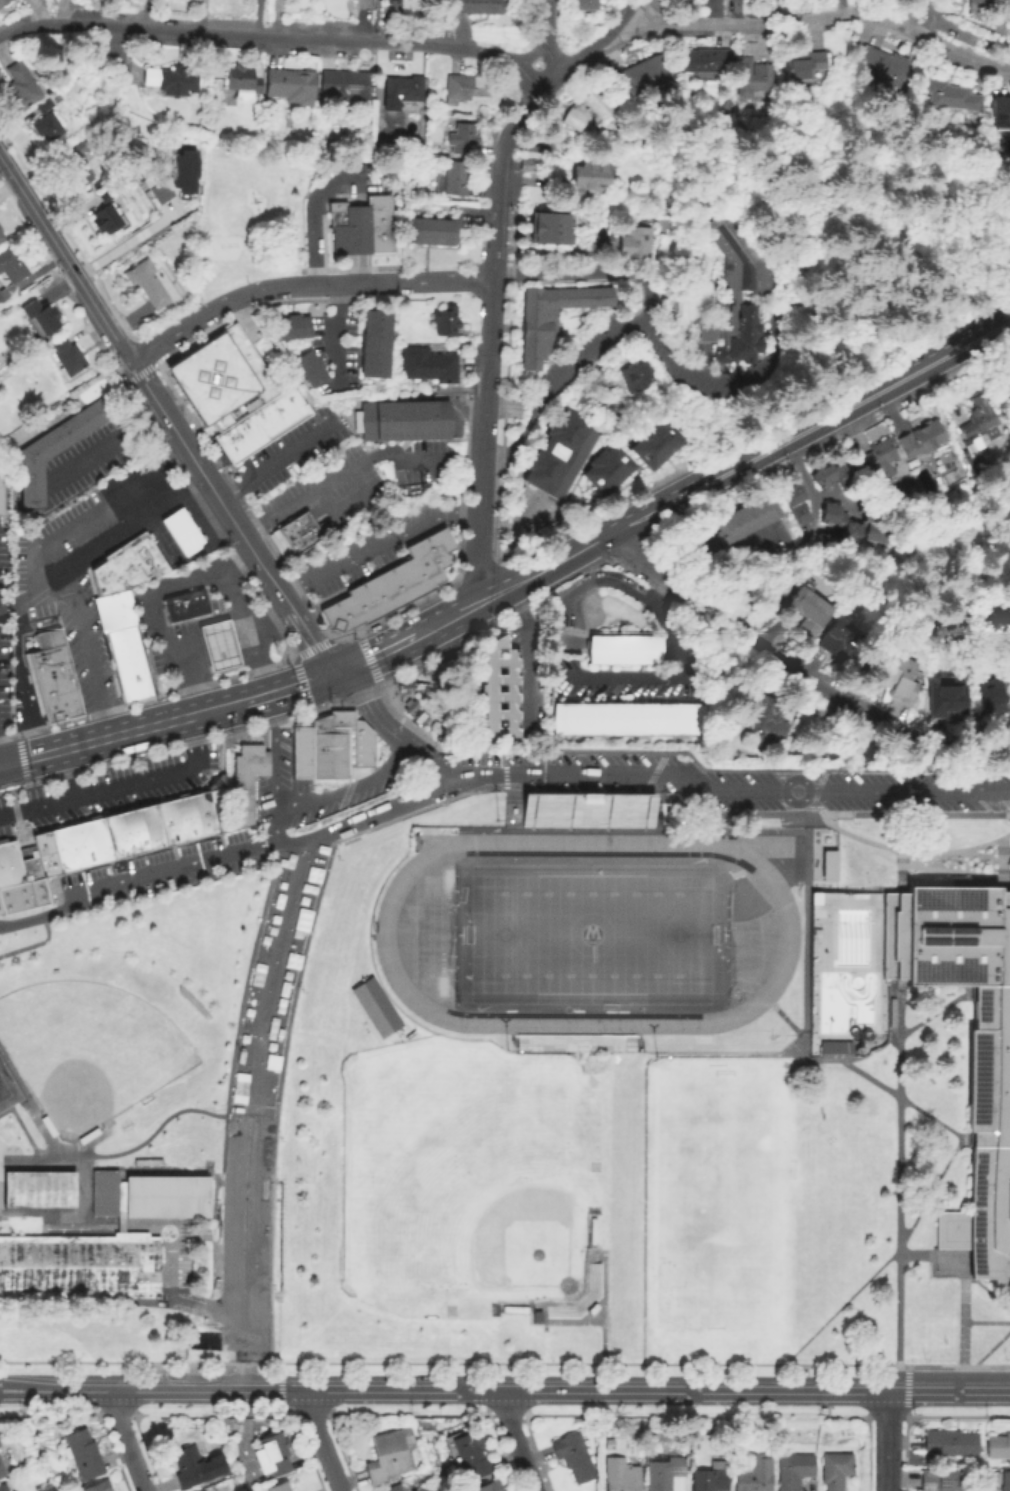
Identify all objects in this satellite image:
building: (5, 3)
building: (578, 5)
building: (973, 5)
building: (475, 7)
building: (1009, 8)
road: (632, 10)
road: (827, 16)
road: (275, 37)
road: (545, 38)
road: (531, 55)
building: (698, 60)
building: (801, 64)
building: (880, 65)
building: (750, 75)
building: (634, 76)
building: (171, 81)
building: (244, 81)
building: (21, 87)
building: (291, 87)
building: (345, 87)
building: (460, 87)
building: (403, 89)
road: (533, 94)
building: (946, 95)
building: (730, 105)
building: (43, 106)
building: (995, 111)
building: (580, 112)
building: (46, 128)
building: (462, 134)
building: (375, 147)
building: (79, 148)
building: (523, 164)
building: (79, 174)
building: (177, 178)
building: (448, 178)
building: (583, 179)
building: (105, 195)
road: (312, 210)
park: (254, 212)
building: (541, 220)
building: (106, 221)
building: (361, 225)
road: (359, 229)
building: (428, 232)
building: (541, 236)
road: (65, 237)
building: (2, 239)
building: (627, 241)
road: (493, 244)
road: (109, 251)
road: (564, 257)
road: (64, 260)
building: (10, 268)
road: (360, 268)
road: (350, 269)
building: (146, 281)
road: (441, 281)
road: (347, 284)
building: (733, 289)
building: (7, 295)
road: (209, 311)
building: (546, 317)
building: (40, 319)
building: (445, 322)
building: (286, 328)
building: (302, 328)
road: (338, 333)
road: (484, 335)
building: (378, 345)
road: (145, 353)
road: (587, 353)
road: (665, 357)
building: (67, 358)
building: (307, 363)
building: (428, 367)
road: (138, 372)
building: (630, 376)
building: (219, 377)
building: (316, 377)
road: (503, 401)
building: (291, 402)
building: (275, 412)
building: (439, 418)
building: (393, 419)
building: (262, 420)
building: (972, 422)
road: (807, 425)
building: (235, 438)
building: (915, 439)
road: (170, 444)
building: (648, 445)
road: (105, 446)
road: (444, 448)
building: (54, 451)
building: (554, 456)
building: (876, 458)
road: (276, 462)
building: (603, 471)
building: (822, 476)
road: (338, 478)
road: (208, 485)
building: (1, 494)
road: (479, 494)
road: (834, 496)
road: (349, 504)
building: (789, 504)
road: (92, 509)
road: (125, 513)
road: (347, 514)
building: (877, 517)
road: (433, 519)
road: (510, 519)
building: (742, 519)
building: (849, 529)
building: (180, 530)
building: (292, 535)
road: (101, 539)
road: (362, 542)
road: (805, 542)
road: (74, 545)
road: (111, 546)
building: (150, 551)
building: (140, 556)
road: (279, 558)
building: (130, 562)
road: (333, 567)
road: (540, 567)
building: (119, 568)
building: (105, 578)
road: (726, 578)
building: (389, 584)
road: (662, 595)
building: (112, 598)
road: (145, 603)
building: (184, 604)
building: (113, 611)
building: (807, 612)
road: (445, 615)
road: (910, 621)
building: (116, 622)
road: (269, 622)
road: (245, 627)
road: (766, 630)
road: (205, 631)
road: (473, 633)
building: (120, 639)
road: (312, 640)
road: (673, 642)
building: (836, 642)
building: (216, 644)
gas station: (216, 644)
road: (289, 647)
road: (87, 648)
building: (618, 650)
road: (375, 652)
road: (524, 654)
building: (124, 657)
road: (219, 658)
road: (367, 658)
road: (293, 659)
road: (722, 670)
road: (796, 670)
traffic signals: (334, 672)
road: (18, 674)
building: (50, 676)
building: (893, 676)
building: (130, 681)
road: (288, 687)
building: (492, 691)
road: (357, 696)
building: (989, 697)
building: (949, 701)
road: (217, 706)
building: (762, 718)
building: (615, 720)
road: (125, 730)
road: (392, 731)
road: (429, 741)
road: (194, 742)
building: (339, 744)
road: (167, 746)
building: (299, 751)
road: (30, 755)
road: (20, 757)
road: (0, 760)
road: (0, 763)
traffic signals: (1, 763)
road: (742, 771)
road: (67, 773)
road: (482, 774)
building: (246, 784)
road: (348, 787)
road: (8, 788)
road: (754, 790)
road: (94, 793)
building: (218, 804)
building: (591, 812)
road: (912, 816)
building: (205, 817)
building: (188, 821)
building: (170, 825)
building: (152, 830)
road: (638, 831)
building: (134, 835)
building: (116, 839)
building: (99, 843)
road: (291, 844)
track: (435, 845)
building: (82, 847)
track: (749, 847)
road: (853, 848)
building: (55, 854)
road: (813, 857)
road: (205, 859)
building: (827, 864)
road: (910, 865)
building: (799, 868)
building: (20, 883)
building: (798, 890)
building: (817, 896)
road: (289, 908)
track: (584, 935)
park: (587, 941)
road: (34, 945)
building: (378, 1008)
road: (935, 1014)
road: (783, 1018)
building: (966, 1042)
building: (830, 1049)
park: (89, 1050)
building: (596, 1057)
road: (899, 1075)
park: (7, 1093)
road: (892, 1093)
road: (165, 1129)
road: (643, 1145)
road: (59, 1153)
road: (235, 1154)
road: (263, 1157)
building: (146, 1162)
park: (465, 1177)
building: (38, 1188)
park: (38, 1188)
road: (931, 1190)
park: (715, 1199)
road: (123, 1225)
road: (153, 1225)
road: (222, 1232)
building: (105, 1243)
road: (895, 1257)
road: (244, 1278)
road: (179, 1298)
road: (986, 1323)
road: (992, 1349)
road: (954, 1367)
road: (910, 1378)
road: (122, 1387)
road: (277, 1387)
road: (407, 1388)
road: (695, 1389)
road: (948, 1390)
road: (125, 1440)
road: (322, 1440)
road: (515, 1440)
road: (886, 1440)
building: (944, 1443)
road: (899, 1444)
building: (0, 1445)
building: (609, 1445)
building: (996, 1447)
building: (472, 1453)
building: (388, 1455)
building: (82, 1456)
building: (272, 1456)
building: (574, 1456)
building: (187, 1468)
building: (793, 1470)
building: (835, 1470)
building: (1, 1471)
building: (664, 1473)
building: (620, 1475)
building: (755, 1475)
building: (712, 1477)
building: (938, 1480)
building: (1002, 1481)
building: (2, 1487)
building: (100, 1487)
building: (489, 1487)
building: (280, 1488)
building: (394, 1489)
building: (202, 1490)

